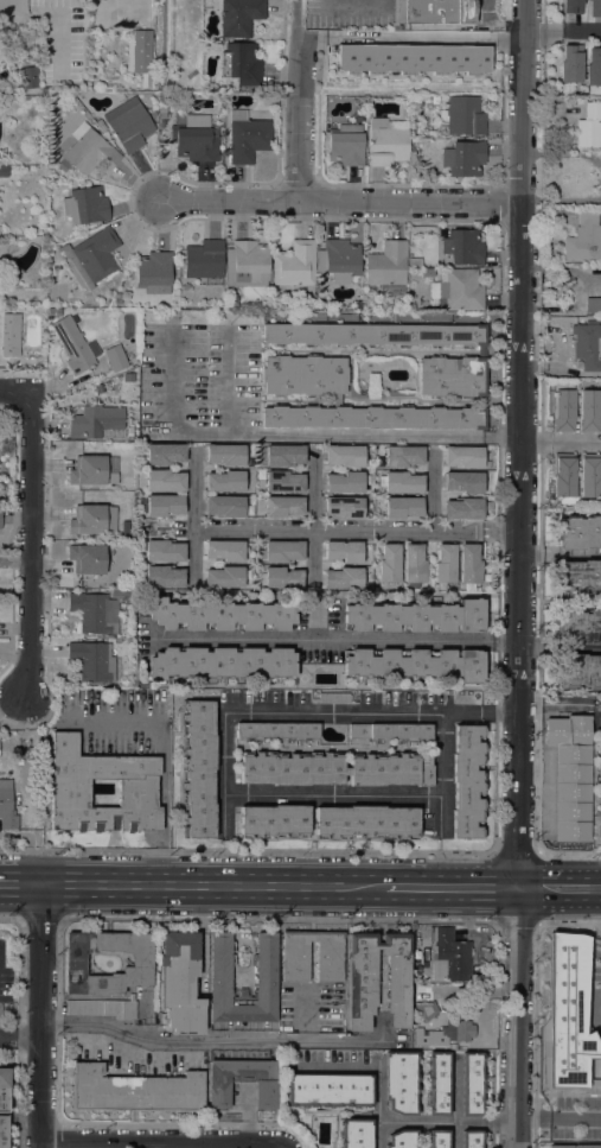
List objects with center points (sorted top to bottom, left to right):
building: (13, 6)
building: (571, 6)
building: (594, 7)
building: (436, 14)
building: (238, 15)
road: (563, 30)
road: (410, 37)
building: (140, 53)
building: (242, 63)
building: (570, 63)
building: (593, 66)
building: (343, 72)
building: (28, 76)
road: (298, 100)
building: (161, 112)
building: (462, 115)
building: (128, 126)
building: (589, 126)
building: (249, 133)
building: (194, 137)
building: (386, 142)
building: (346, 145)
building: (89, 151)
building: (463, 158)
building: (62, 165)
building: (4, 171)
road: (343, 199)
building: (85, 205)
building: (31, 226)
building: (584, 237)
building: (463, 246)
building: (92, 255)
building: (204, 259)
building: (338, 260)
building: (414, 261)
building: (247, 264)
building: (295, 264)
building: (386, 267)
building: (154, 272)
building: (428, 272)
building: (458, 290)
building: (117, 298)
building: (232, 300)
building: (367, 300)
building: (593, 304)
building: (411, 306)
building: (53, 311)
building: (11, 335)
building: (75, 344)
building: (587, 345)
building: (115, 357)
road: (561, 368)
building: (305, 376)
road: (231, 381)
building: (100, 387)
road: (17, 394)
building: (563, 407)
building: (588, 410)
road: (500, 413)
building: (95, 420)
road: (295, 433)
road: (561, 445)
road: (519, 446)
building: (165, 454)
building: (224, 454)
building: (280, 455)
building: (344, 455)
building: (403, 456)
building: (463, 456)
building: (90, 471)
building: (590, 475)
building: (563, 477)
building: (164, 480)
building: (224, 481)
building: (283, 481)
building: (344, 482)
building: (401, 482)
building: (463, 482)
road: (433, 489)
building: (164, 505)
building: (224, 506)
building: (282, 506)
building: (402, 506)
building: (344, 507)
building: (462, 508)
road: (194, 518)
road: (313, 518)
building: (0, 519)
building: (92, 520)
building: (124, 527)
road: (357, 529)
building: (578, 532)
road: (32, 546)
building: (224, 550)
building: (164, 551)
building: (280, 551)
building: (343, 551)
road: (560, 553)
building: (88, 558)
building: (389, 563)
building: (414, 563)
building: (469, 563)
building: (445, 564)
building: (164, 576)
building: (224, 577)
building: (280, 577)
building: (578, 577)
building: (343, 578)
building: (120, 592)
building: (94, 613)
building: (220, 615)
building: (415, 616)
building: (578, 627)
road: (332, 640)
road: (558, 648)
building: (92, 660)
building: (220, 661)
building: (415, 662)
building: (578, 671)
building: (333, 697)
road: (600, 710)
road: (313, 713)
building: (276, 731)
building: (390, 731)
road: (162, 763)
building: (197, 768)
building: (334, 768)
road: (441, 774)
building: (467, 781)
building: (561, 785)
building: (69, 792)
building: (599, 792)
road: (333, 797)
building: (6, 807)
building: (567, 818)
building: (273, 820)
building: (366, 822)
road: (23, 883)
road: (213, 886)
road: (448, 892)
road: (557, 892)
road: (514, 920)
building: (447, 953)
building: (75, 959)
road: (44, 960)
building: (294, 960)
road: (514, 972)
building: (266, 977)
building: (377, 978)
building: (180, 982)
building: (595, 988)
road: (482, 996)
building: (424, 1001)
building: (104, 1008)
building: (573, 1008)
parking lot: (7, 1020)
road: (20, 1025)
building: (596, 1033)
building: (447, 1034)
road: (211, 1038)
road: (21, 1039)
building: (567, 1051)
road: (514, 1072)
building: (590, 1073)
building: (401, 1082)
building: (437, 1083)
building: (472, 1083)
building: (4, 1090)
building: (328, 1090)
building: (134, 1091)
road: (43, 1092)
building: (219, 1092)
road: (557, 1116)
road: (448, 1122)
building: (4, 1130)
building: (354, 1133)
building: (402, 1139)
building: (437, 1139)
building: (471, 1139)
road: (147, 1144)
building: (558, 1146)
building: (586, 1146)

